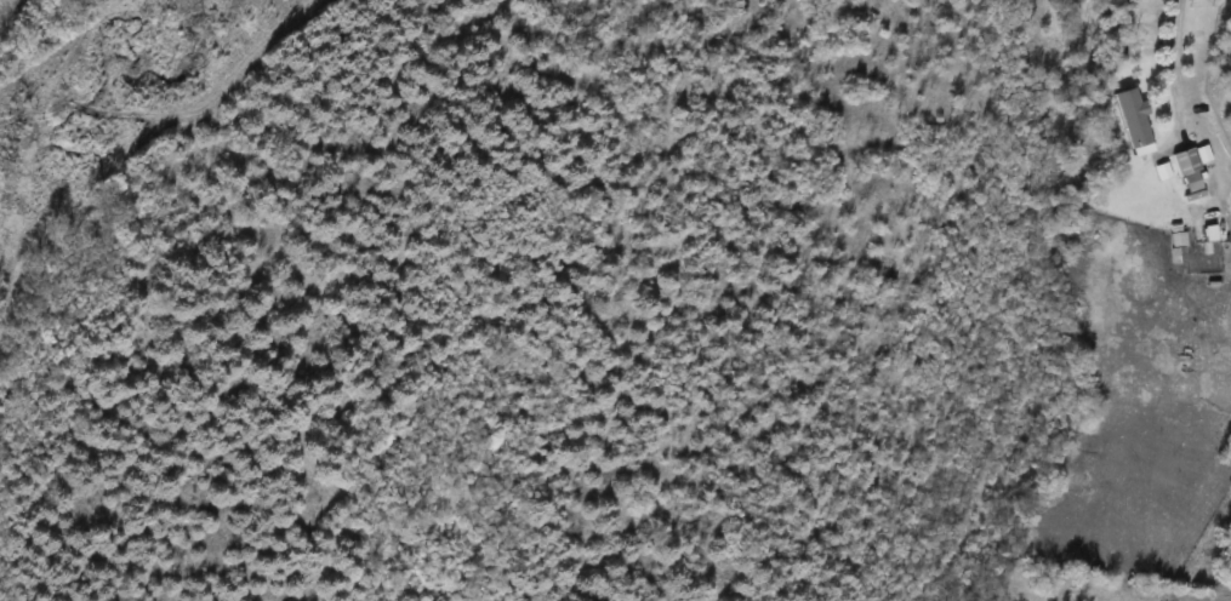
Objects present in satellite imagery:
road: (1173, 59)
building: (1130, 119)
building: (1181, 162)

